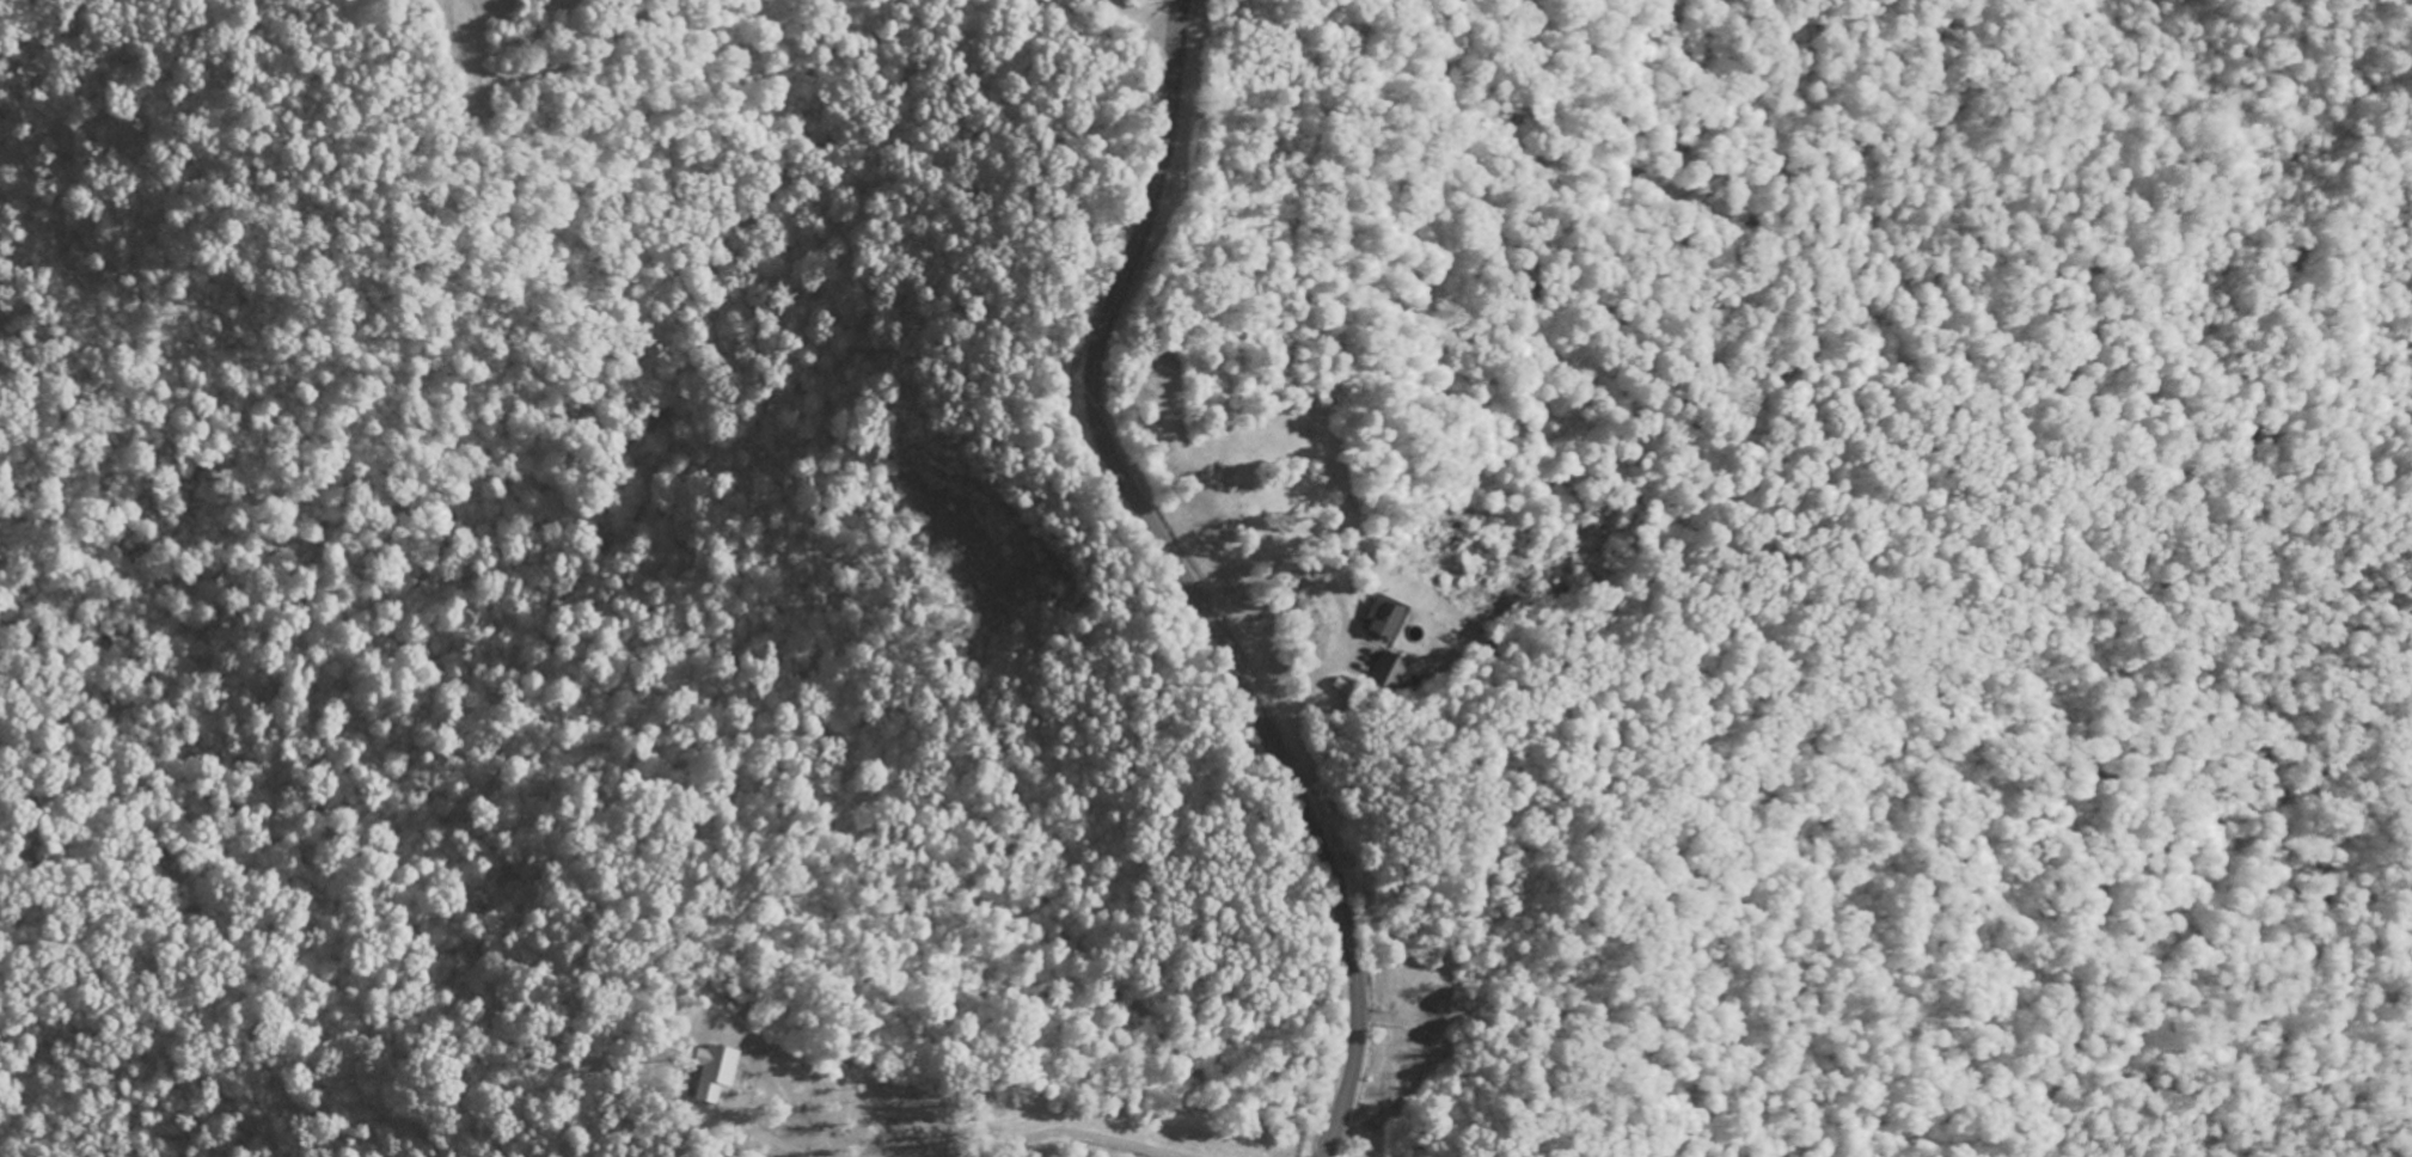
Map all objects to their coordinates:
road: (1186, 580)
building: (1376, 620)
building: (1383, 673)
building: (710, 1075)
road: (1268, 1141)

